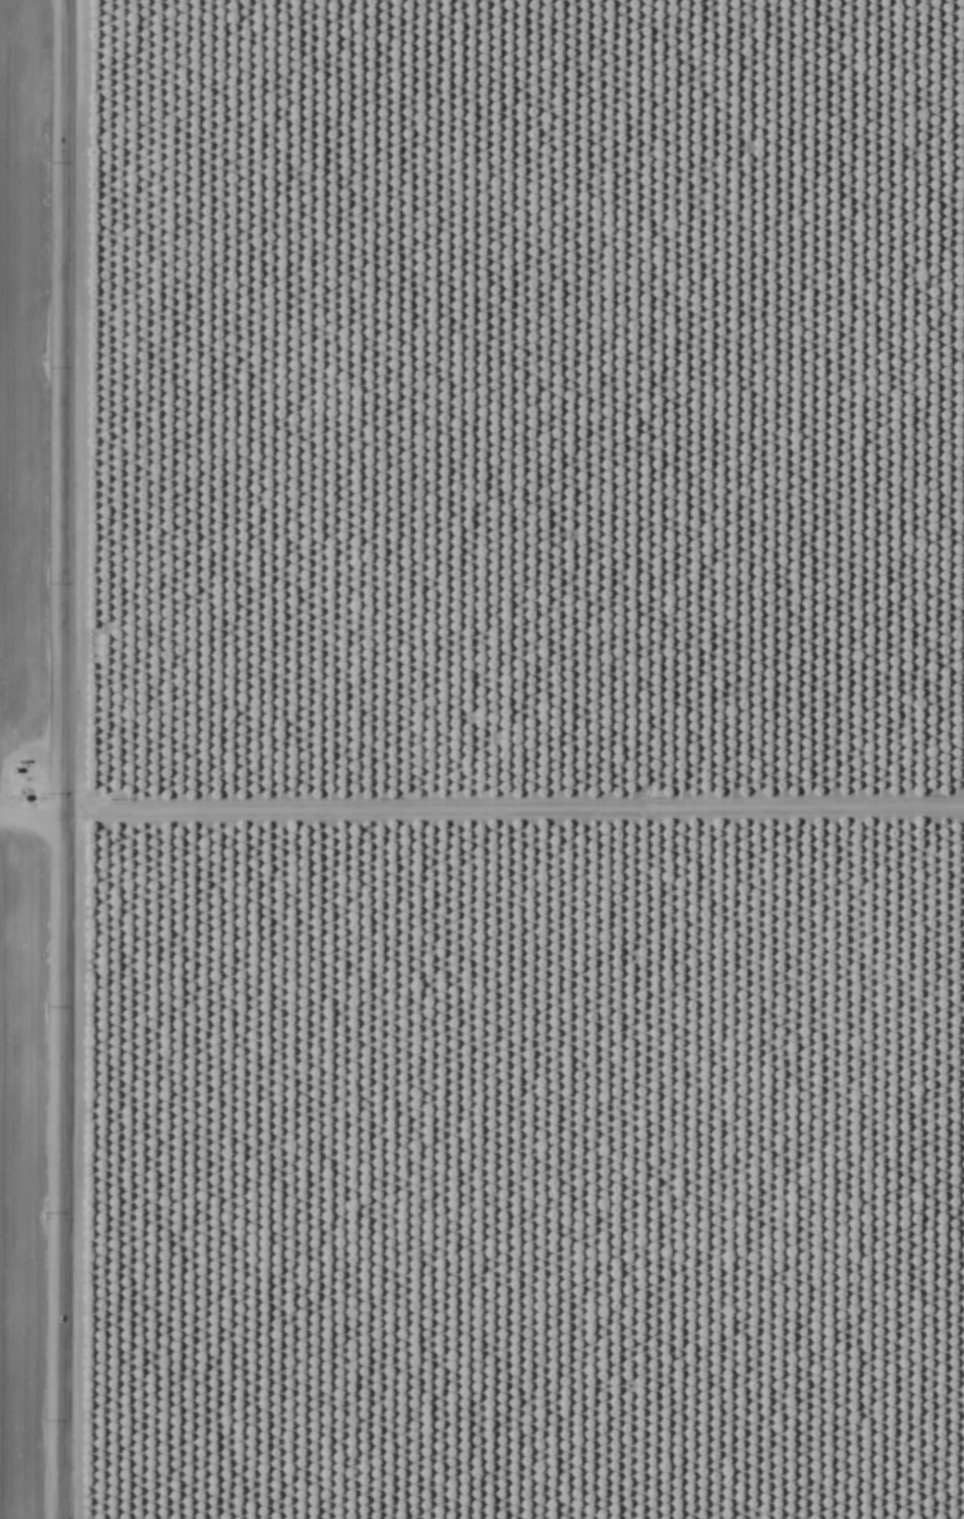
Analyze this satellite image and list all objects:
road: (65, 759)
road: (481, 801)

